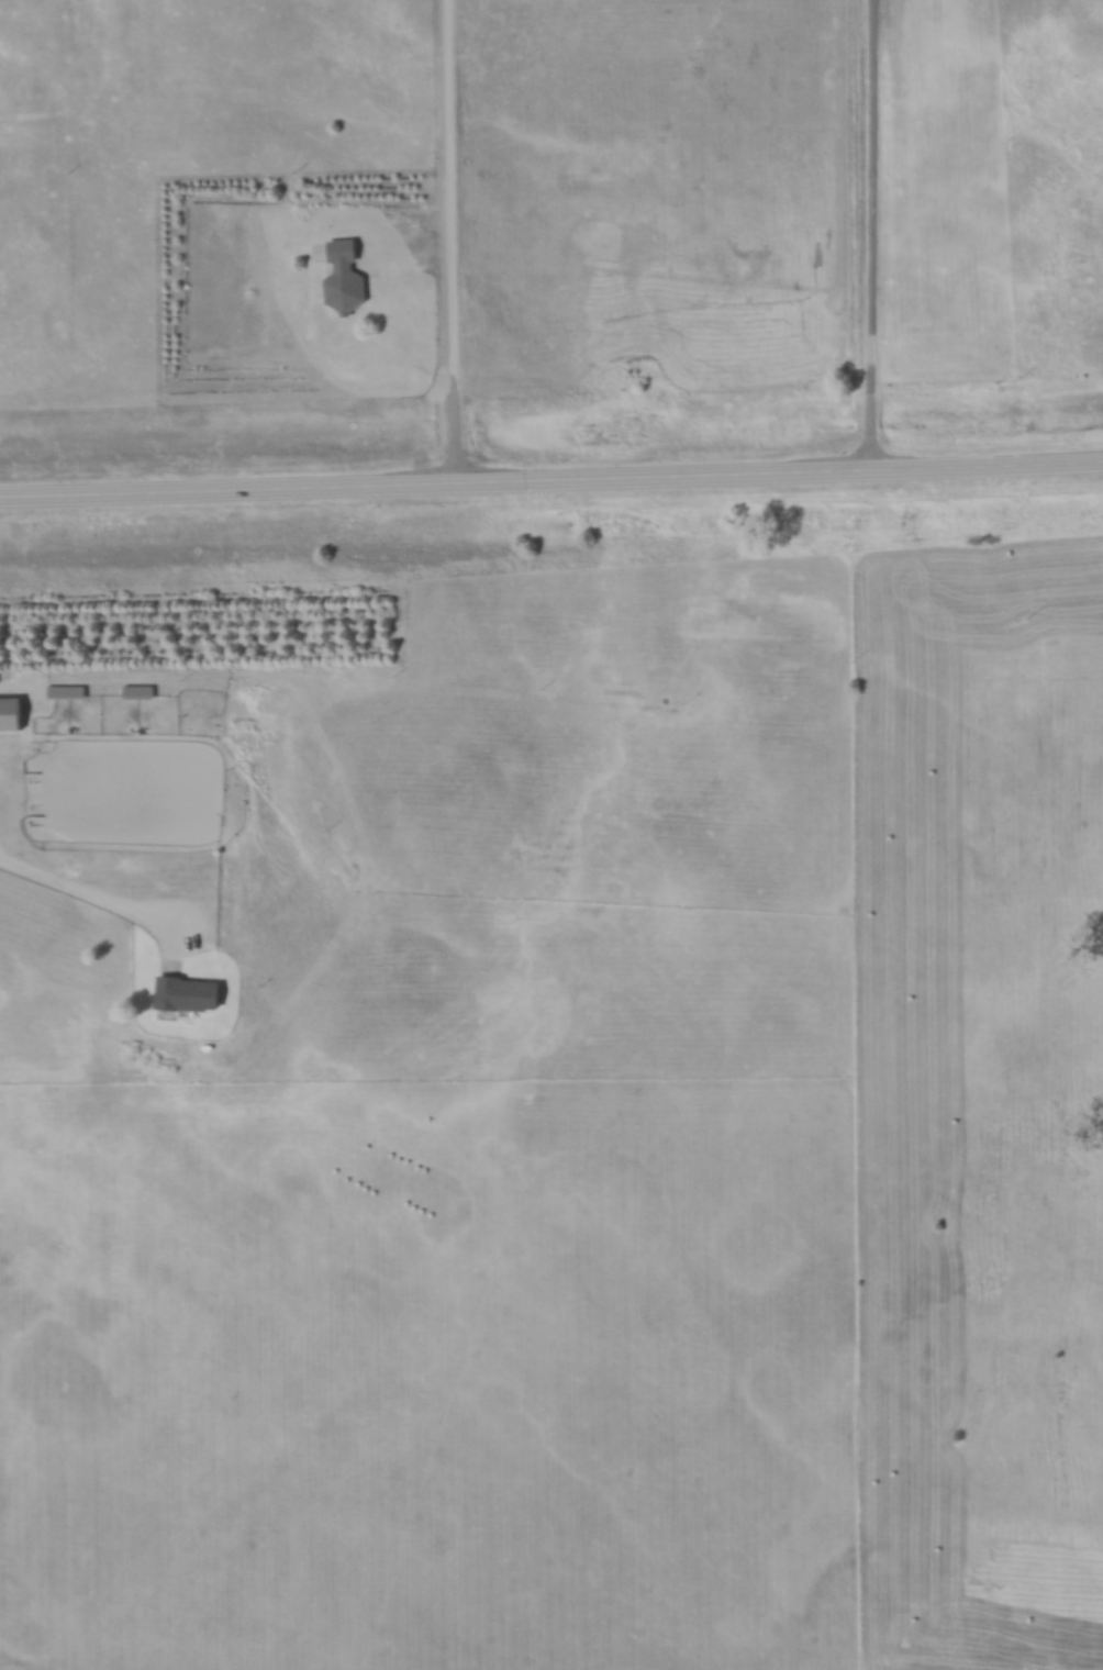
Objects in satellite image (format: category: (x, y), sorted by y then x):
road: (869, 240)
road: (444, 246)
building: (345, 272)
road: (388, 369)
road: (551, 489)
building: (70, 692)
building: (143, 692)
building: (12, 716)
road: (112, 909)
building: (193, 993)

